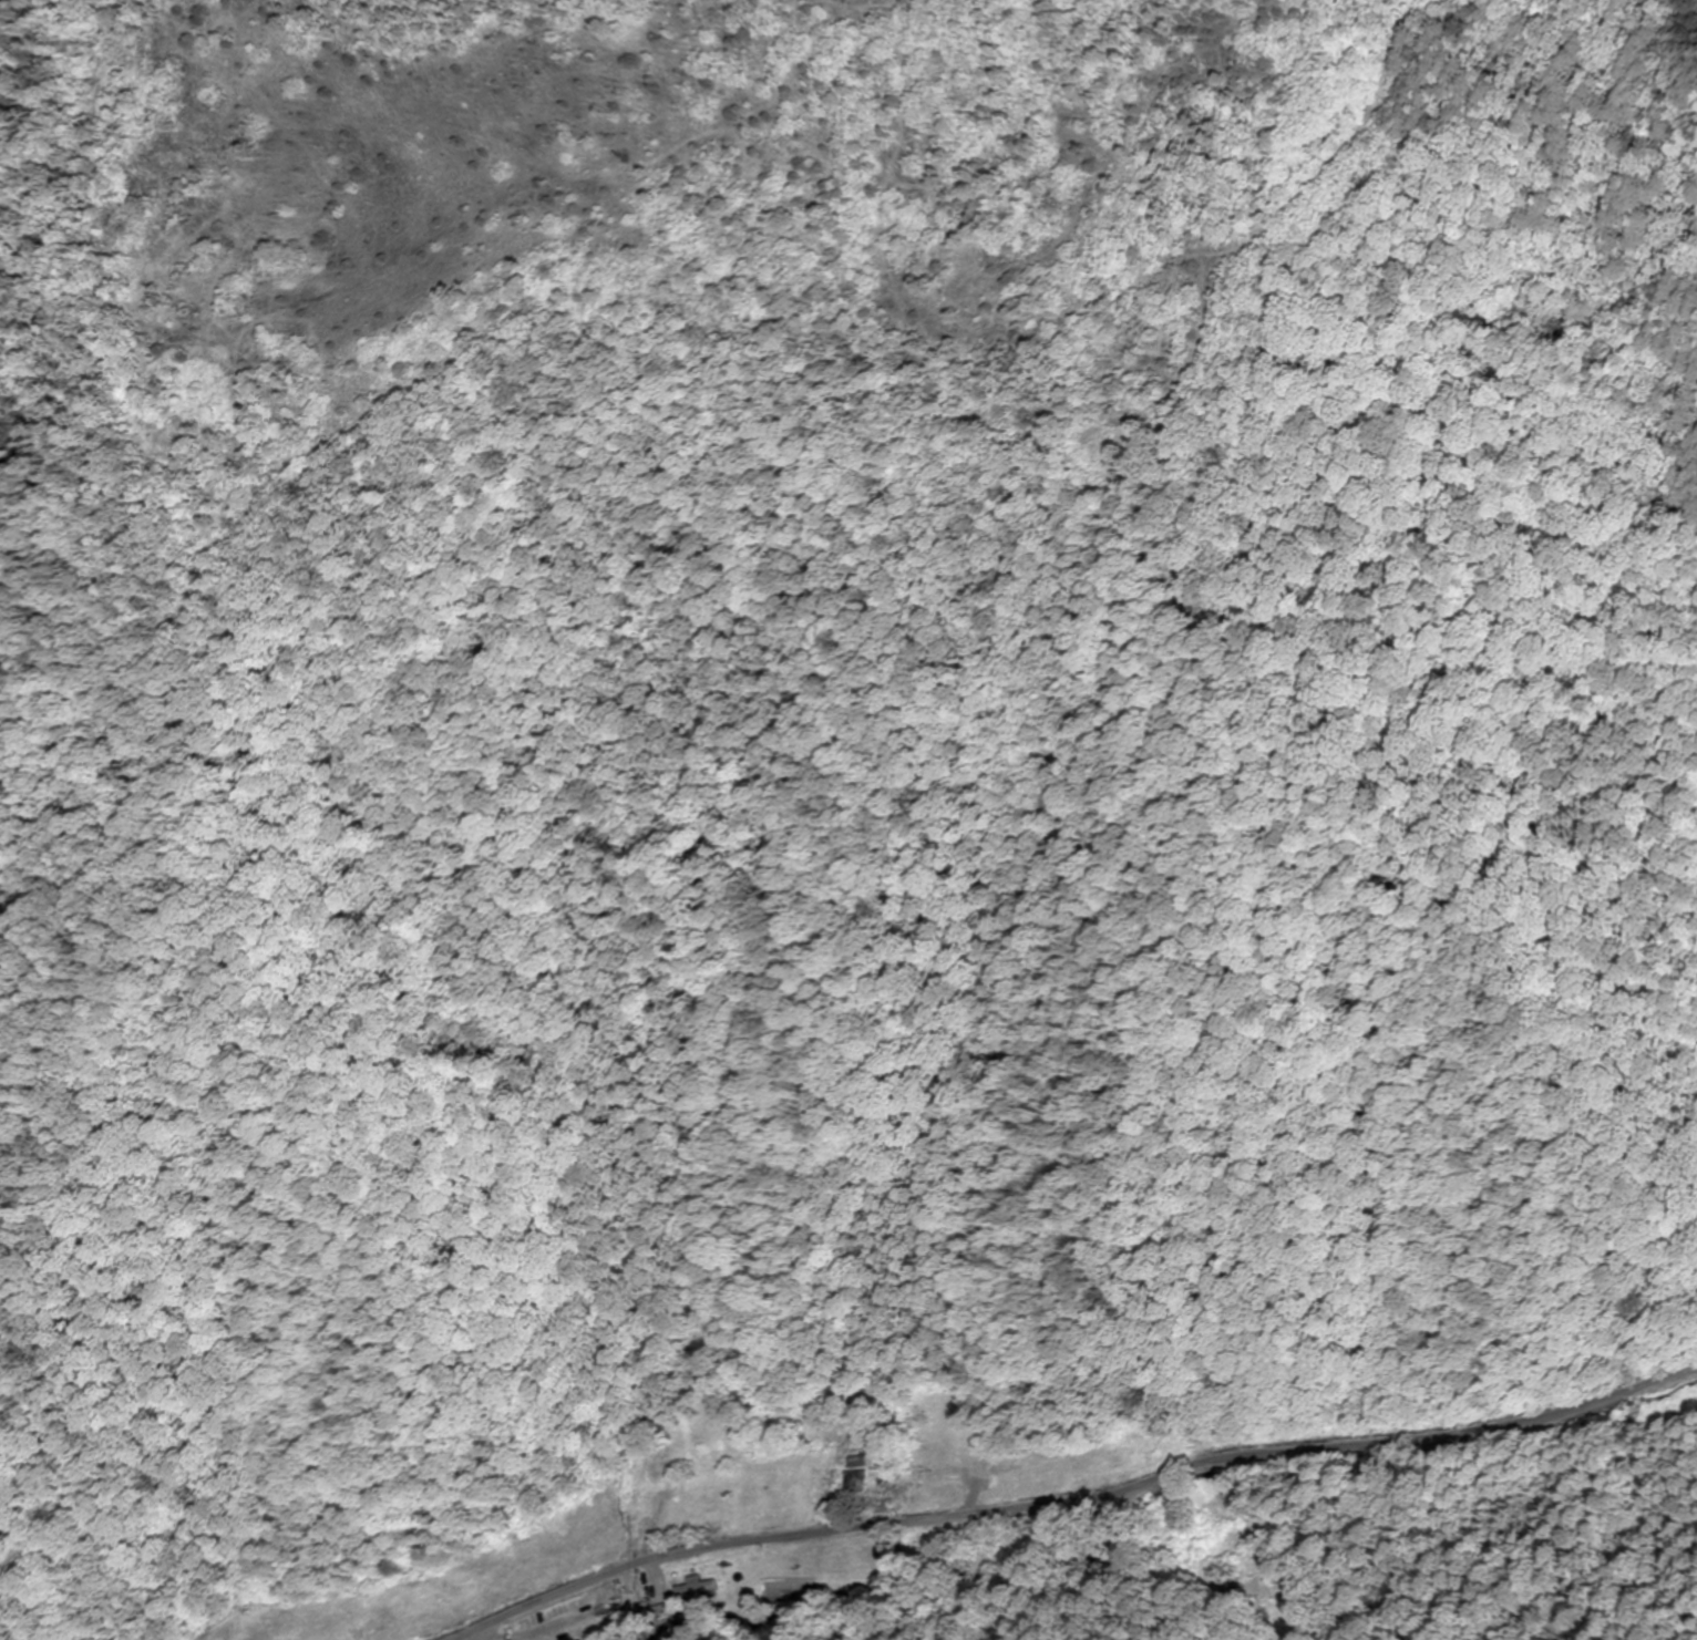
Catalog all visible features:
building: (1005, 1458)
building: (654, 1468)
building: (855, 1477)
road: (1079, 1506)

